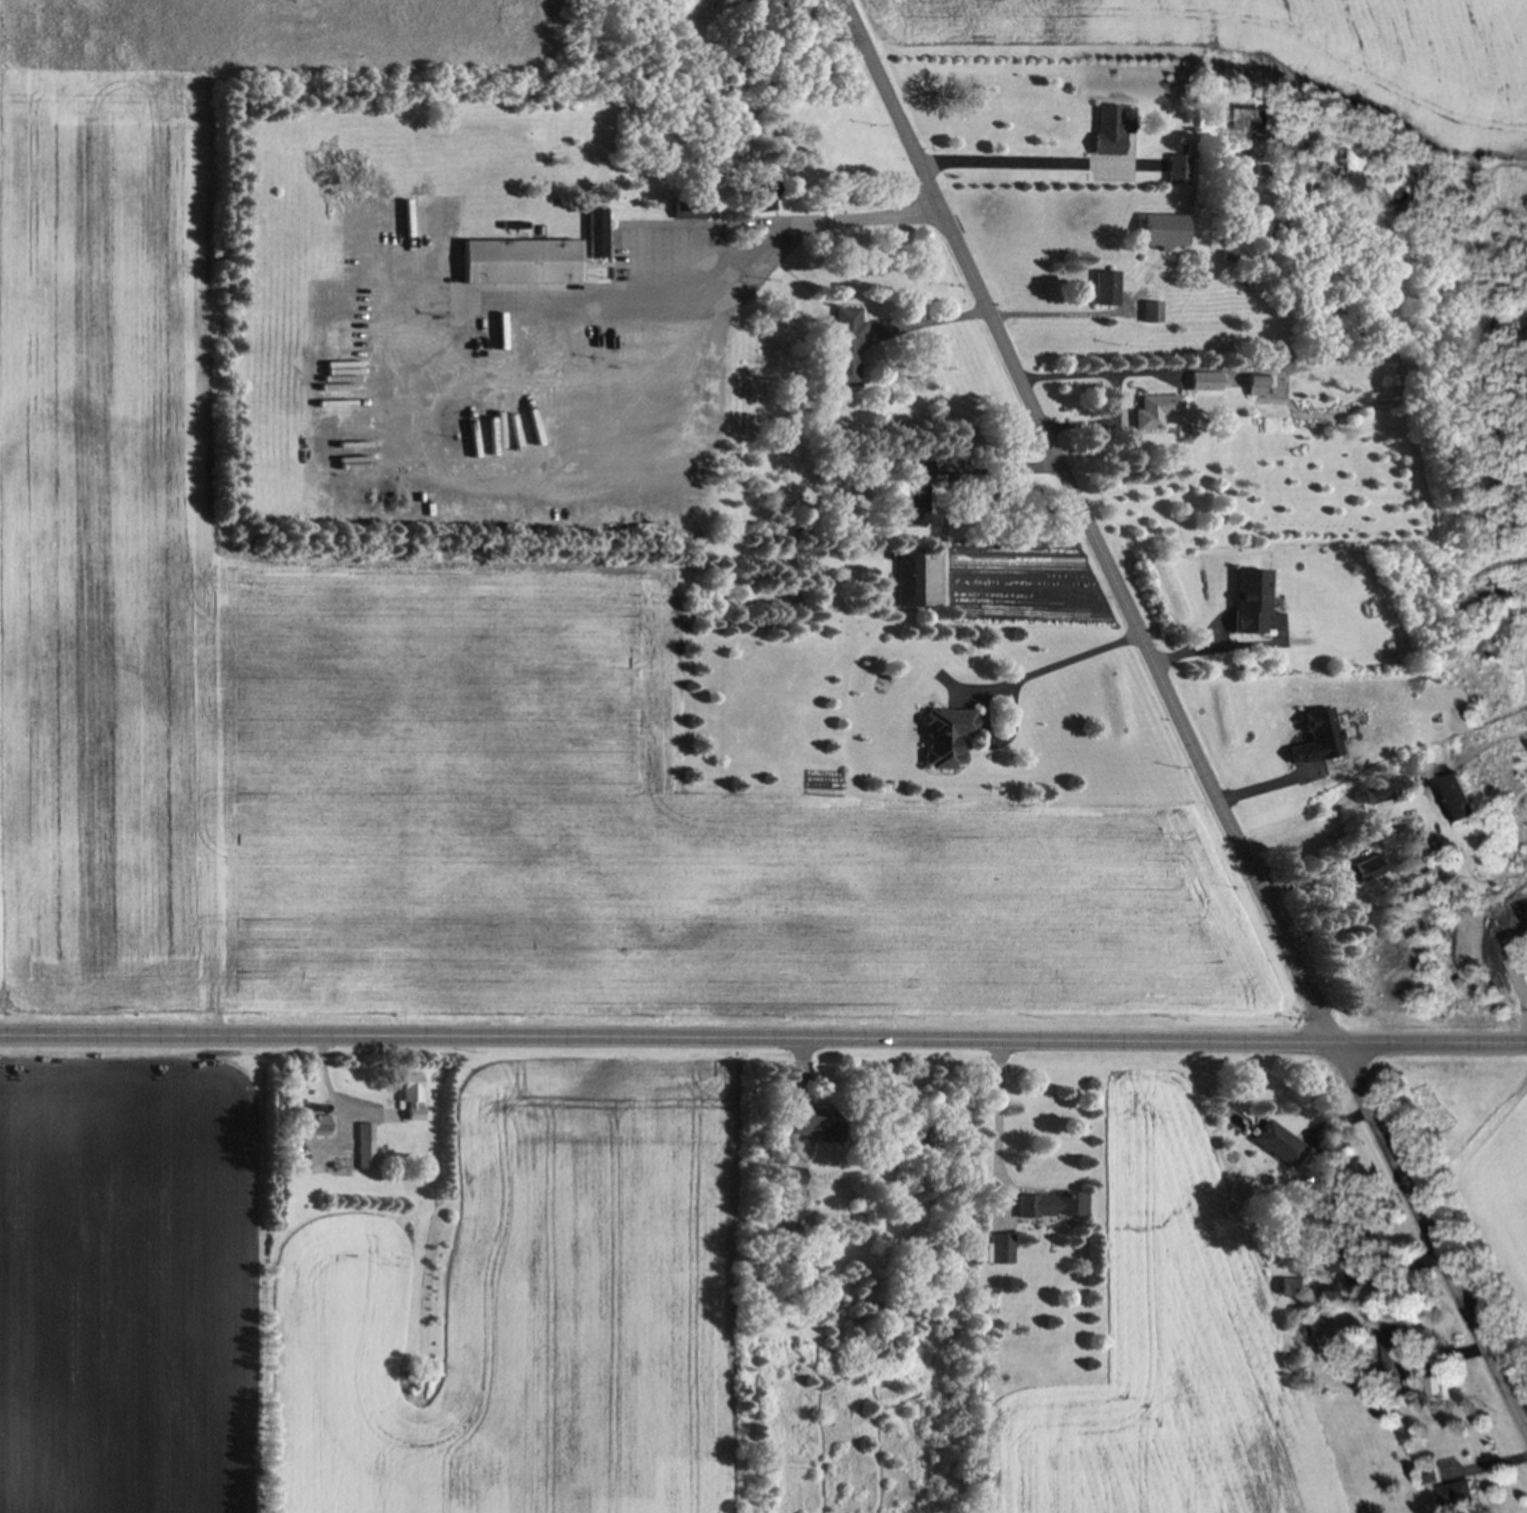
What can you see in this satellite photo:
crop: (1284, 50)
building: (1252, 119)
building: (1109, 129)
road: (1007, 161)
building: (1177, 168)
building: (760, 196)
building: (687, 208)
building: (1164, 230)
building: (595, 232)
building: (520, 261)
road: (729, 270)
building: (1105, 287)
road: (1039, 310)
building: (1151, 311)
road: (930, 320)
building: (846, 345)
road: (1088, 375)
building: (1204, 380)
building: (1258, 383)
building: (1155, 409)
road: (1101, 424)
road: (1005, 465)
building: (915, 491)
building: (908, 577)
building: (1248, 600)
road: (1226, 644)
road: (1060, 663)
crop: (420, 675)
road: (1180, 721)
building: (945, 735)
building: (1316, 737)
building: (1381, 788)
building: (1455, 799)
building: (1368, 866)
road: (763, 1042)
building: (411, 1095)
road: (999, 1116)
building: (813, 1121)
building: (315, 1125)
building: (1279, 1143)
building: (366, 1145)
building: (794, 1175)
building: (1050, 1204)
building: (996, 1249)
building: (1351, 1266)
crop: (362, 1302)
building: (1392, 1352)
crop: (1166, 1353)
building: (1434, 1386)
building: (1456, 1495)

